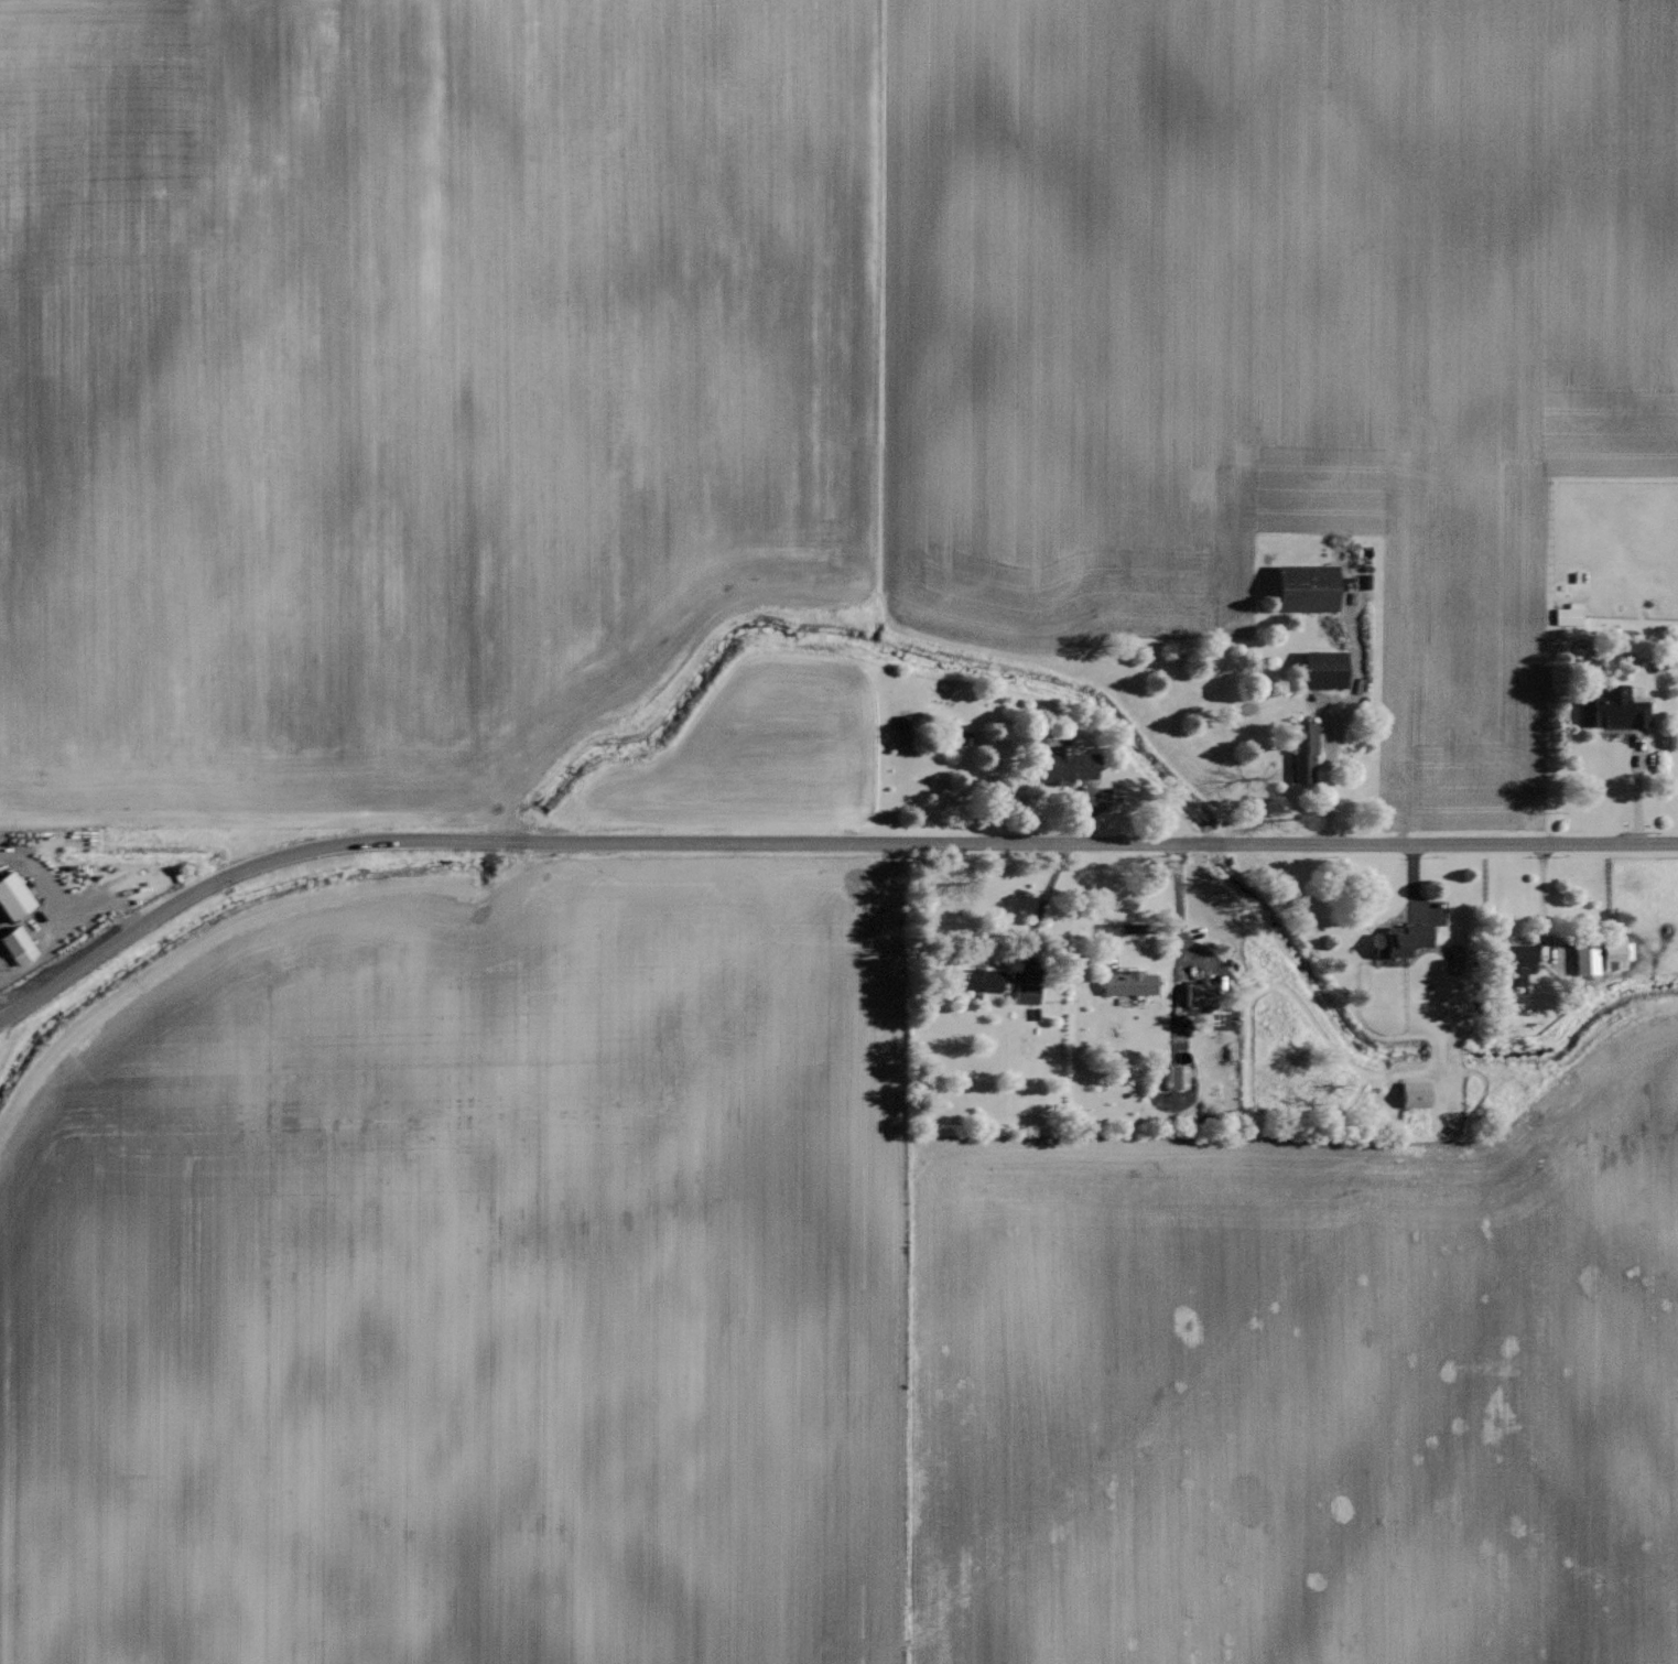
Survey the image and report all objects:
building: (1310, 587)
building: (1570, 614)
building: (1328, 669)
building: (1615, 709)
building: (1304, 752)
building: (1070, 764)
road: (815, 842)
building: (14, 896)
road: (1039, 907)
road: (1170, 930)
building: (1403, 940)
building: (19, 946)
building: (1619, 954)
building: (1588, 958)
building: (1520, 963)
building: (982, 979)
building: (1130, 983)
building: (1028, 993)
building: (1199, 995)
building: (1179, 1077)
building: (1418, 1094)

